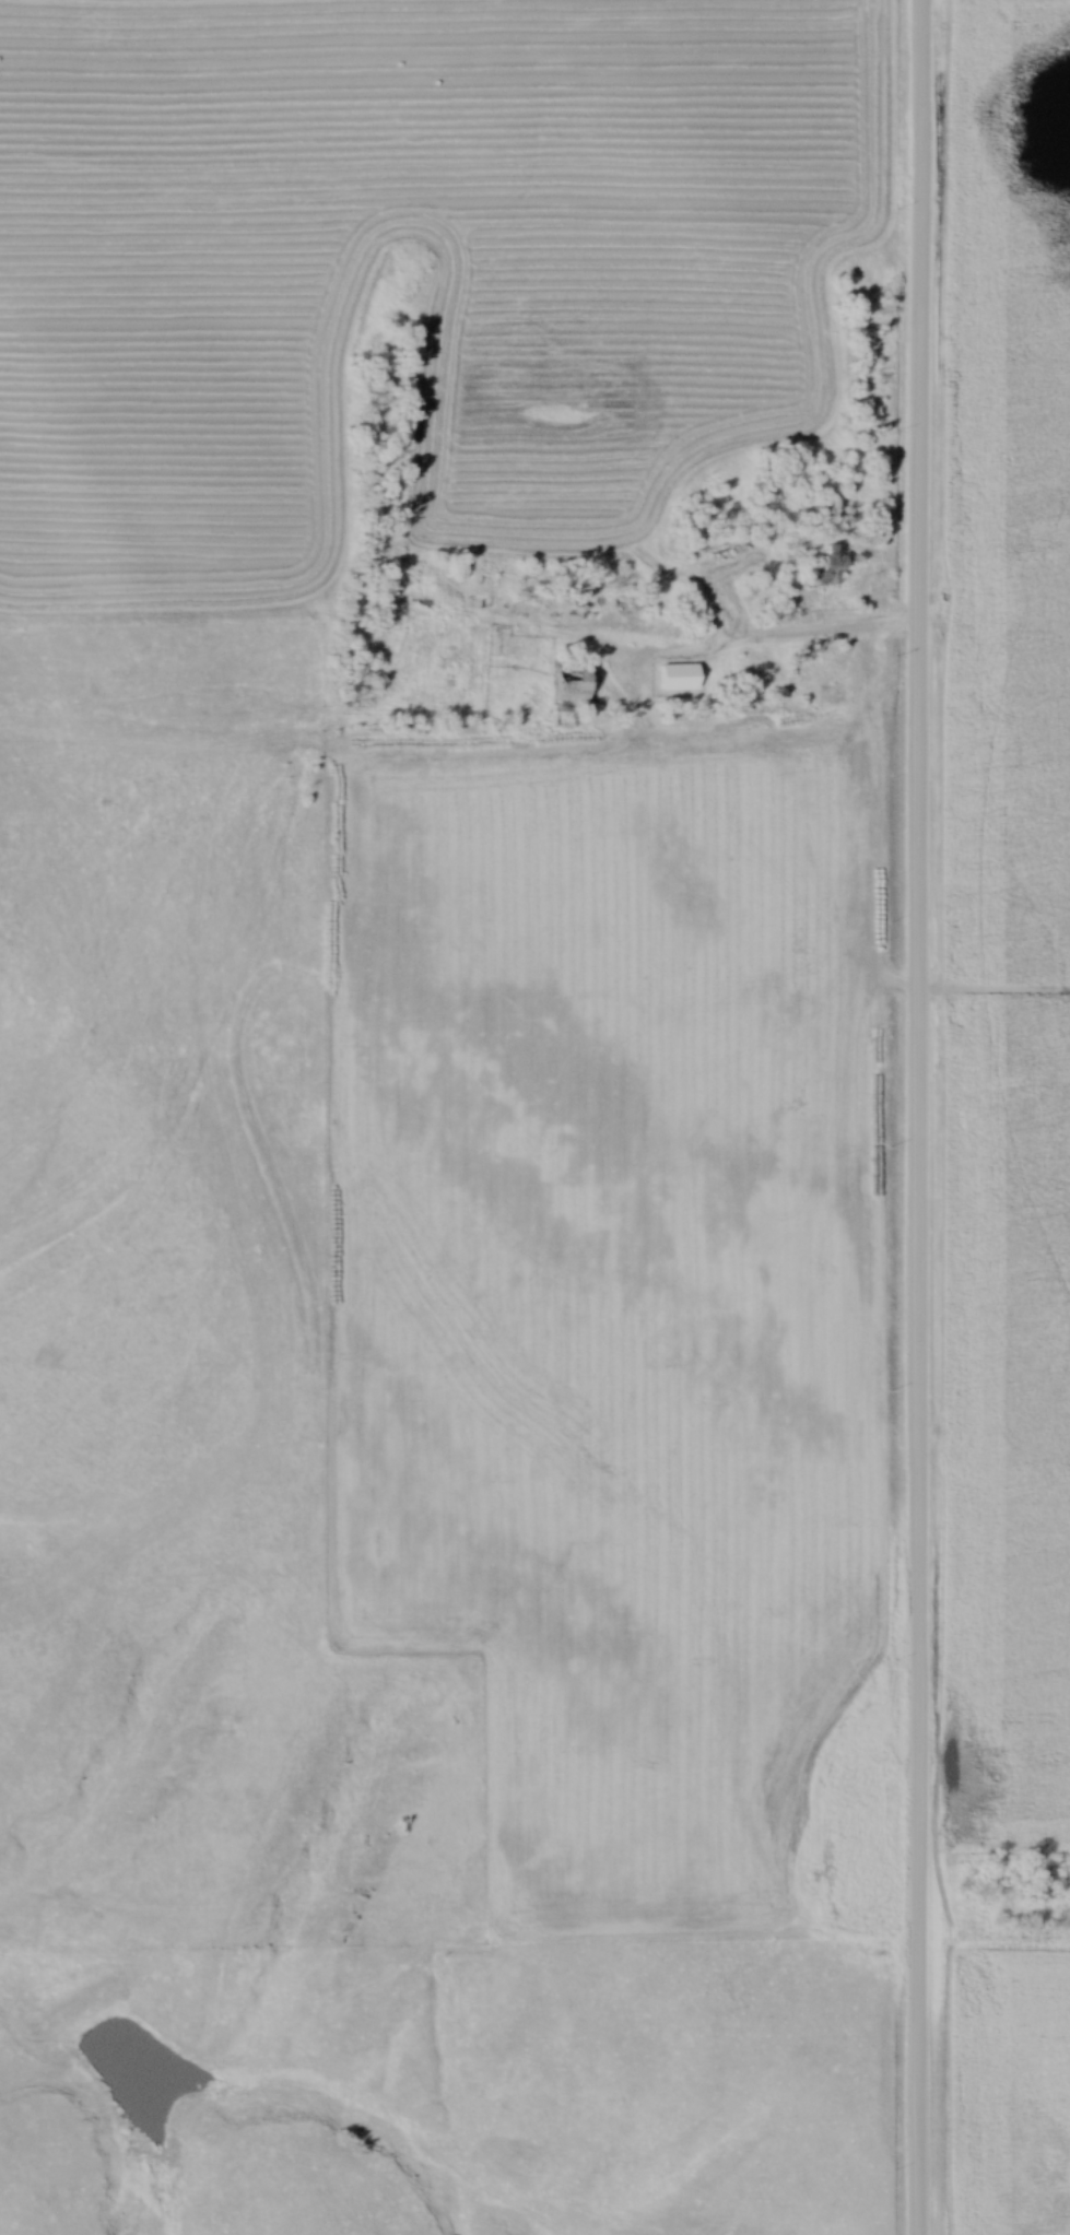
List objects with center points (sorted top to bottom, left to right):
building: (835, 565)
road: (781, 632)
building: (682, 678)
building: (577, 690)
road: (921, 1117)

